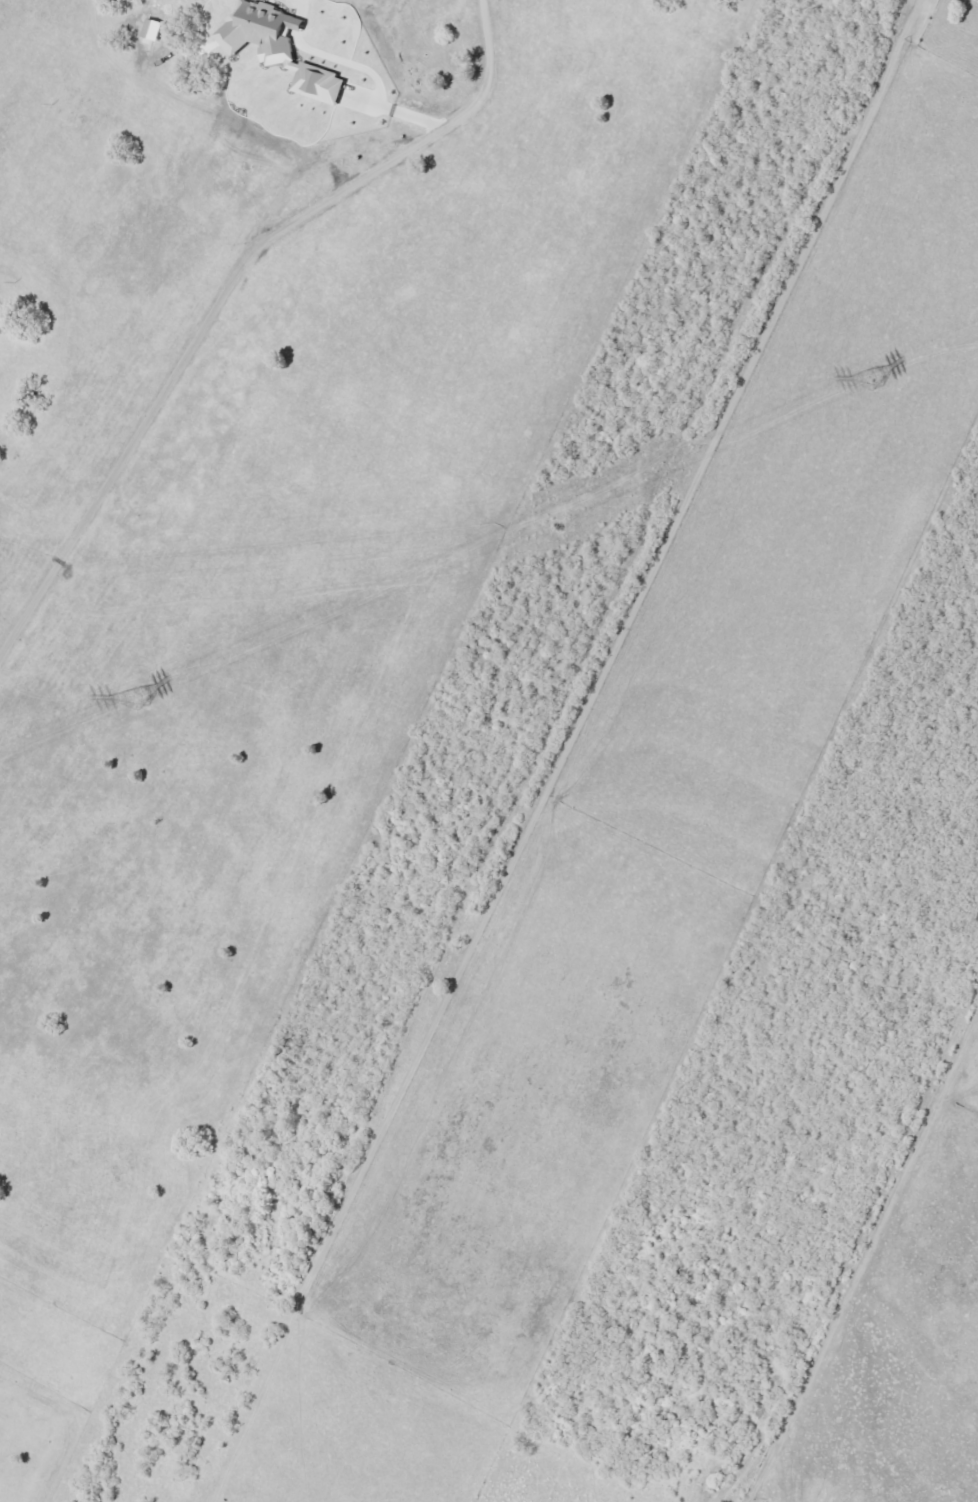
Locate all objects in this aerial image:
building: (153, 29)
building: (281, 47)
road: (7, 54)
road: (202, 322)
power tower: (867, 380)
power tower: (135, 700)
road: (864, 1255)

